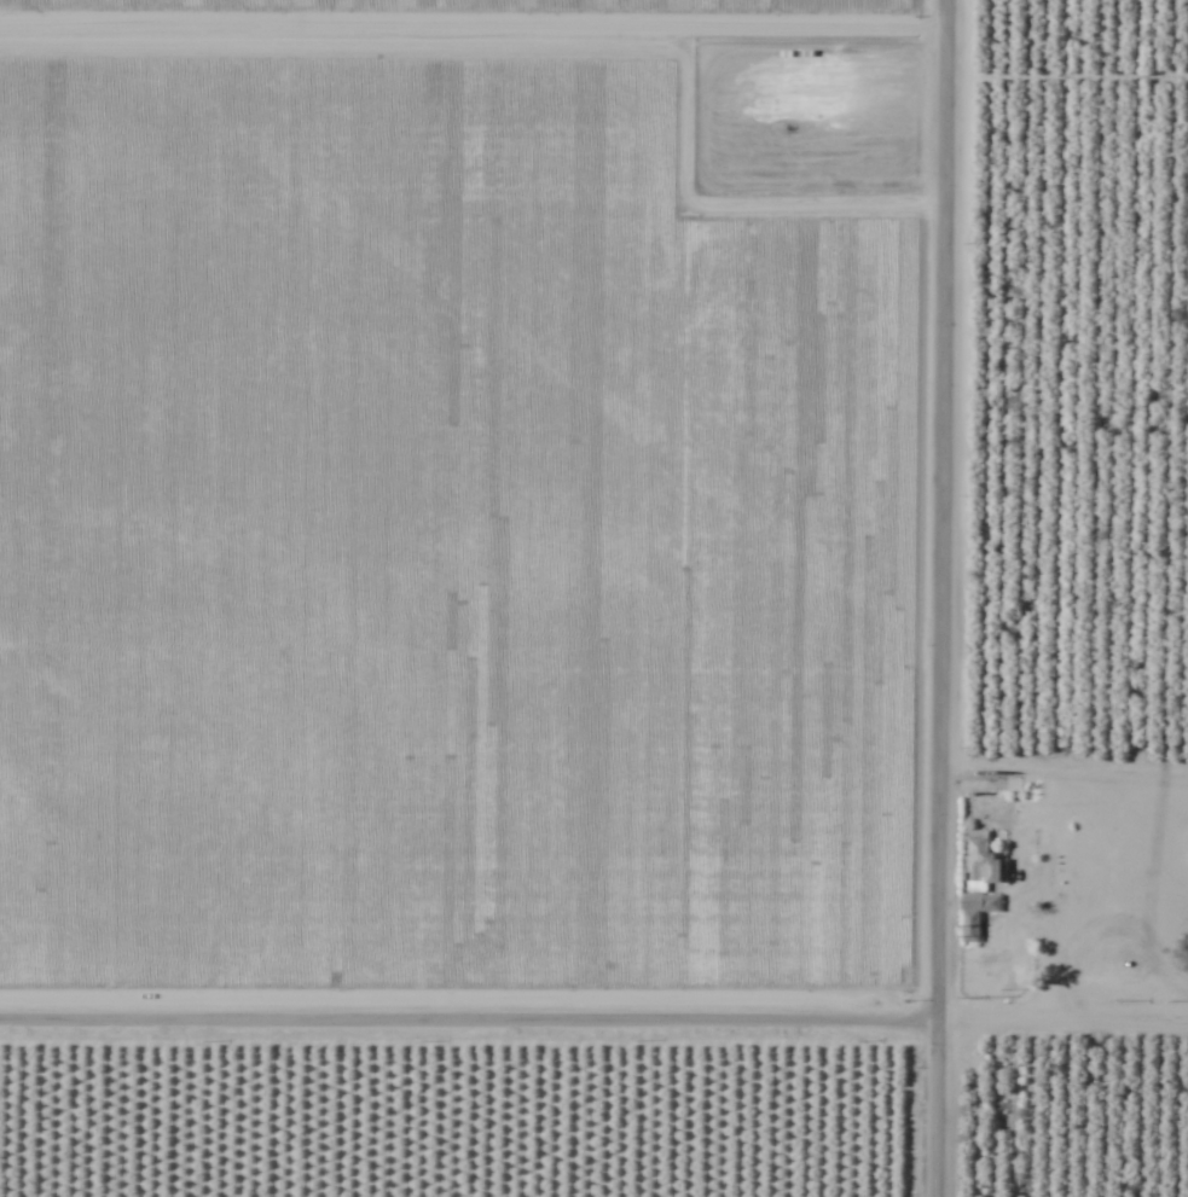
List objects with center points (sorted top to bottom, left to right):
crop: (593, 598)
road: (943, 598)
building: (977, 883)
road: (1062, 1015)
road: (468, 1027)

